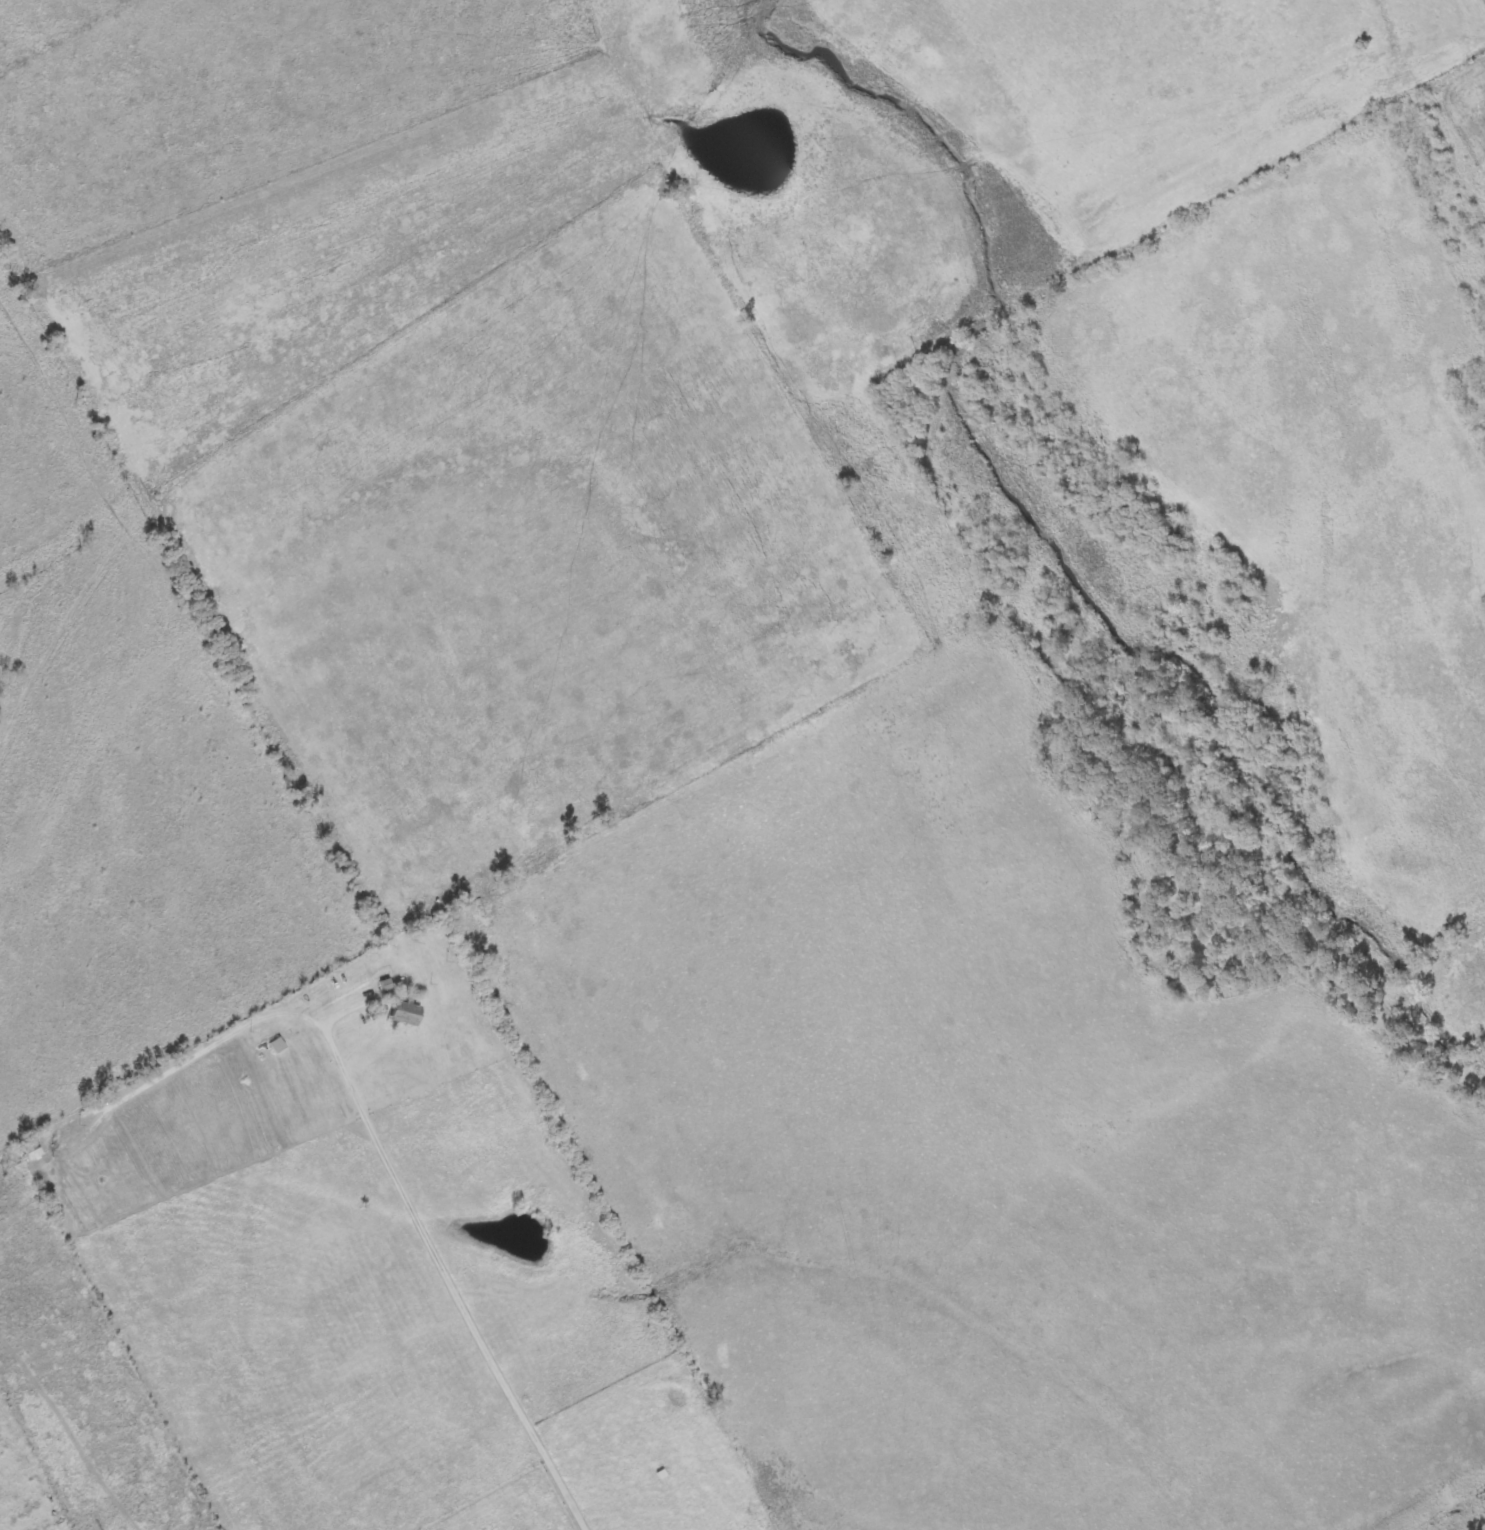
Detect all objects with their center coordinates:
building: (403, 1014)
building: (275, 1045)
road: (379, 1138)
building: (29, 1151)

